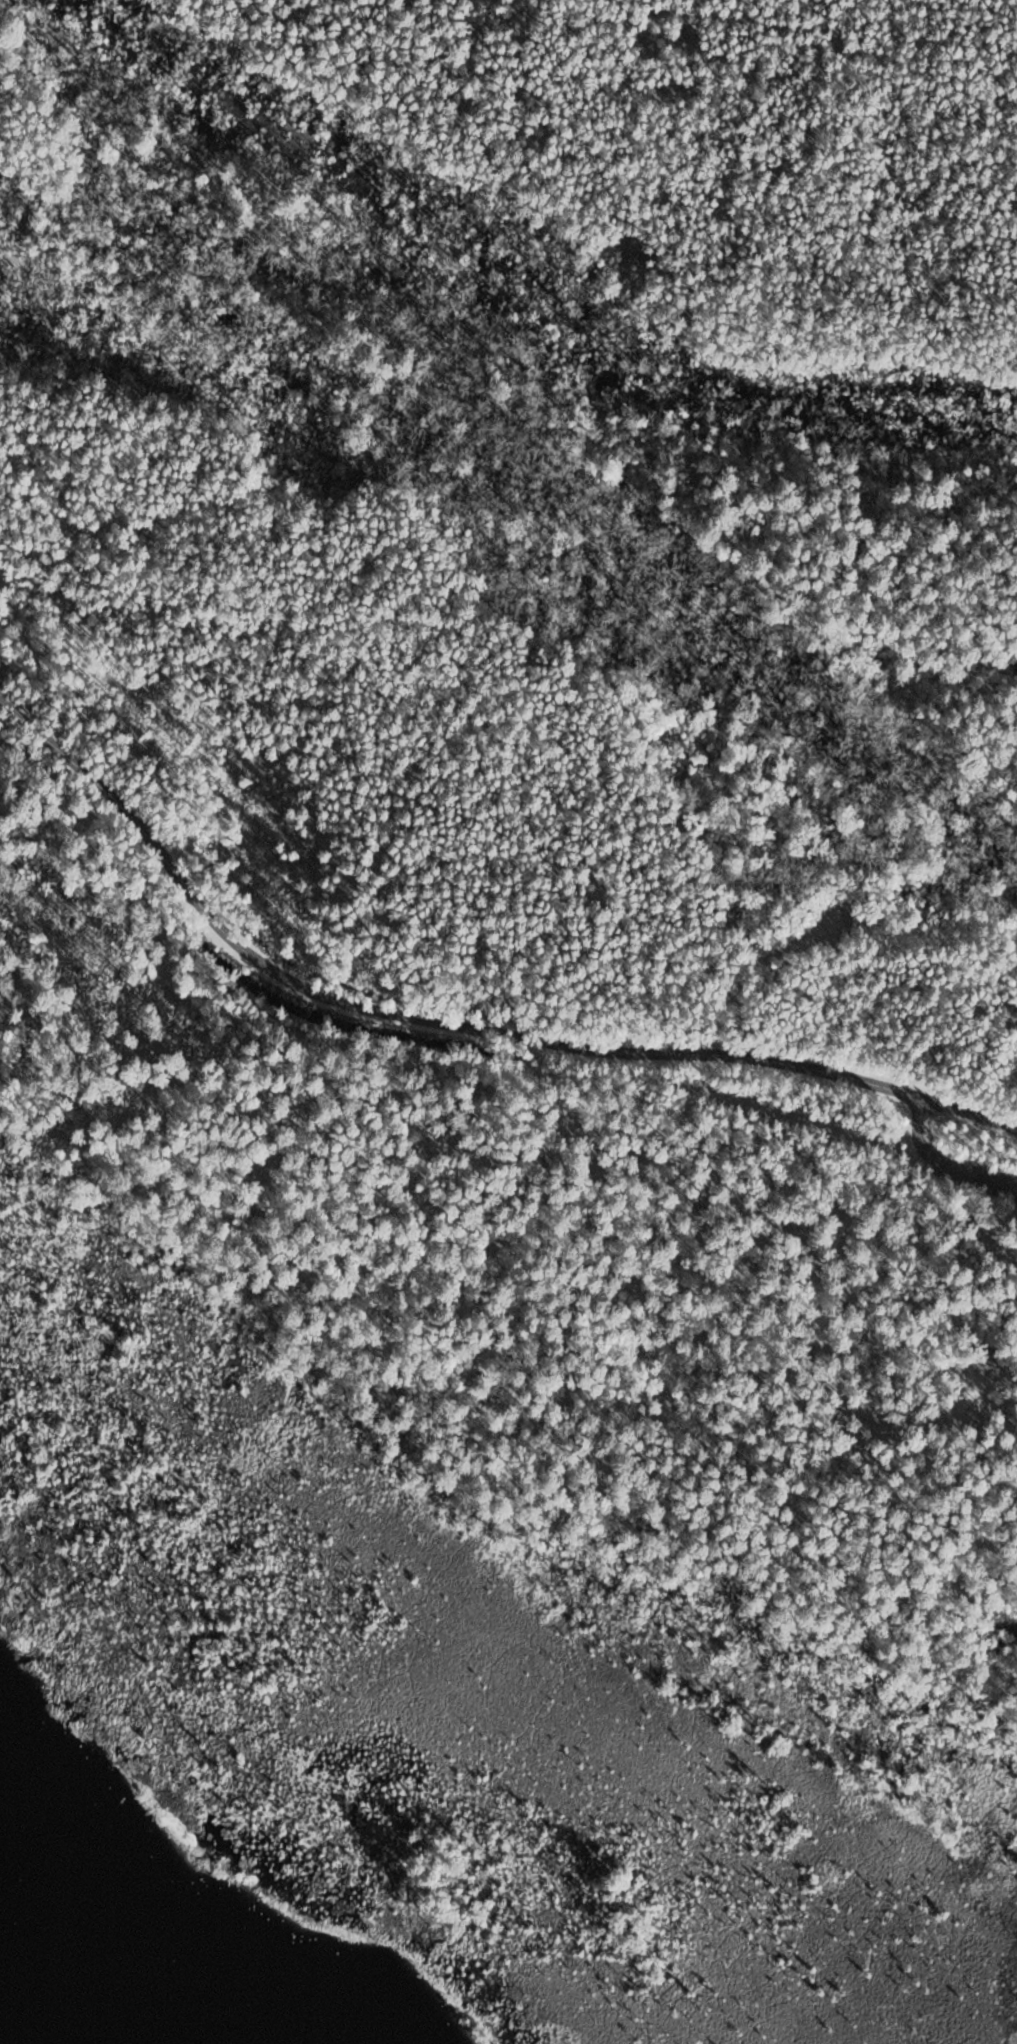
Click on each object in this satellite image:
road: (453, 1022)
road: (943, 1163)
parking lot: (979, 1176)
road: (846, 1285)

